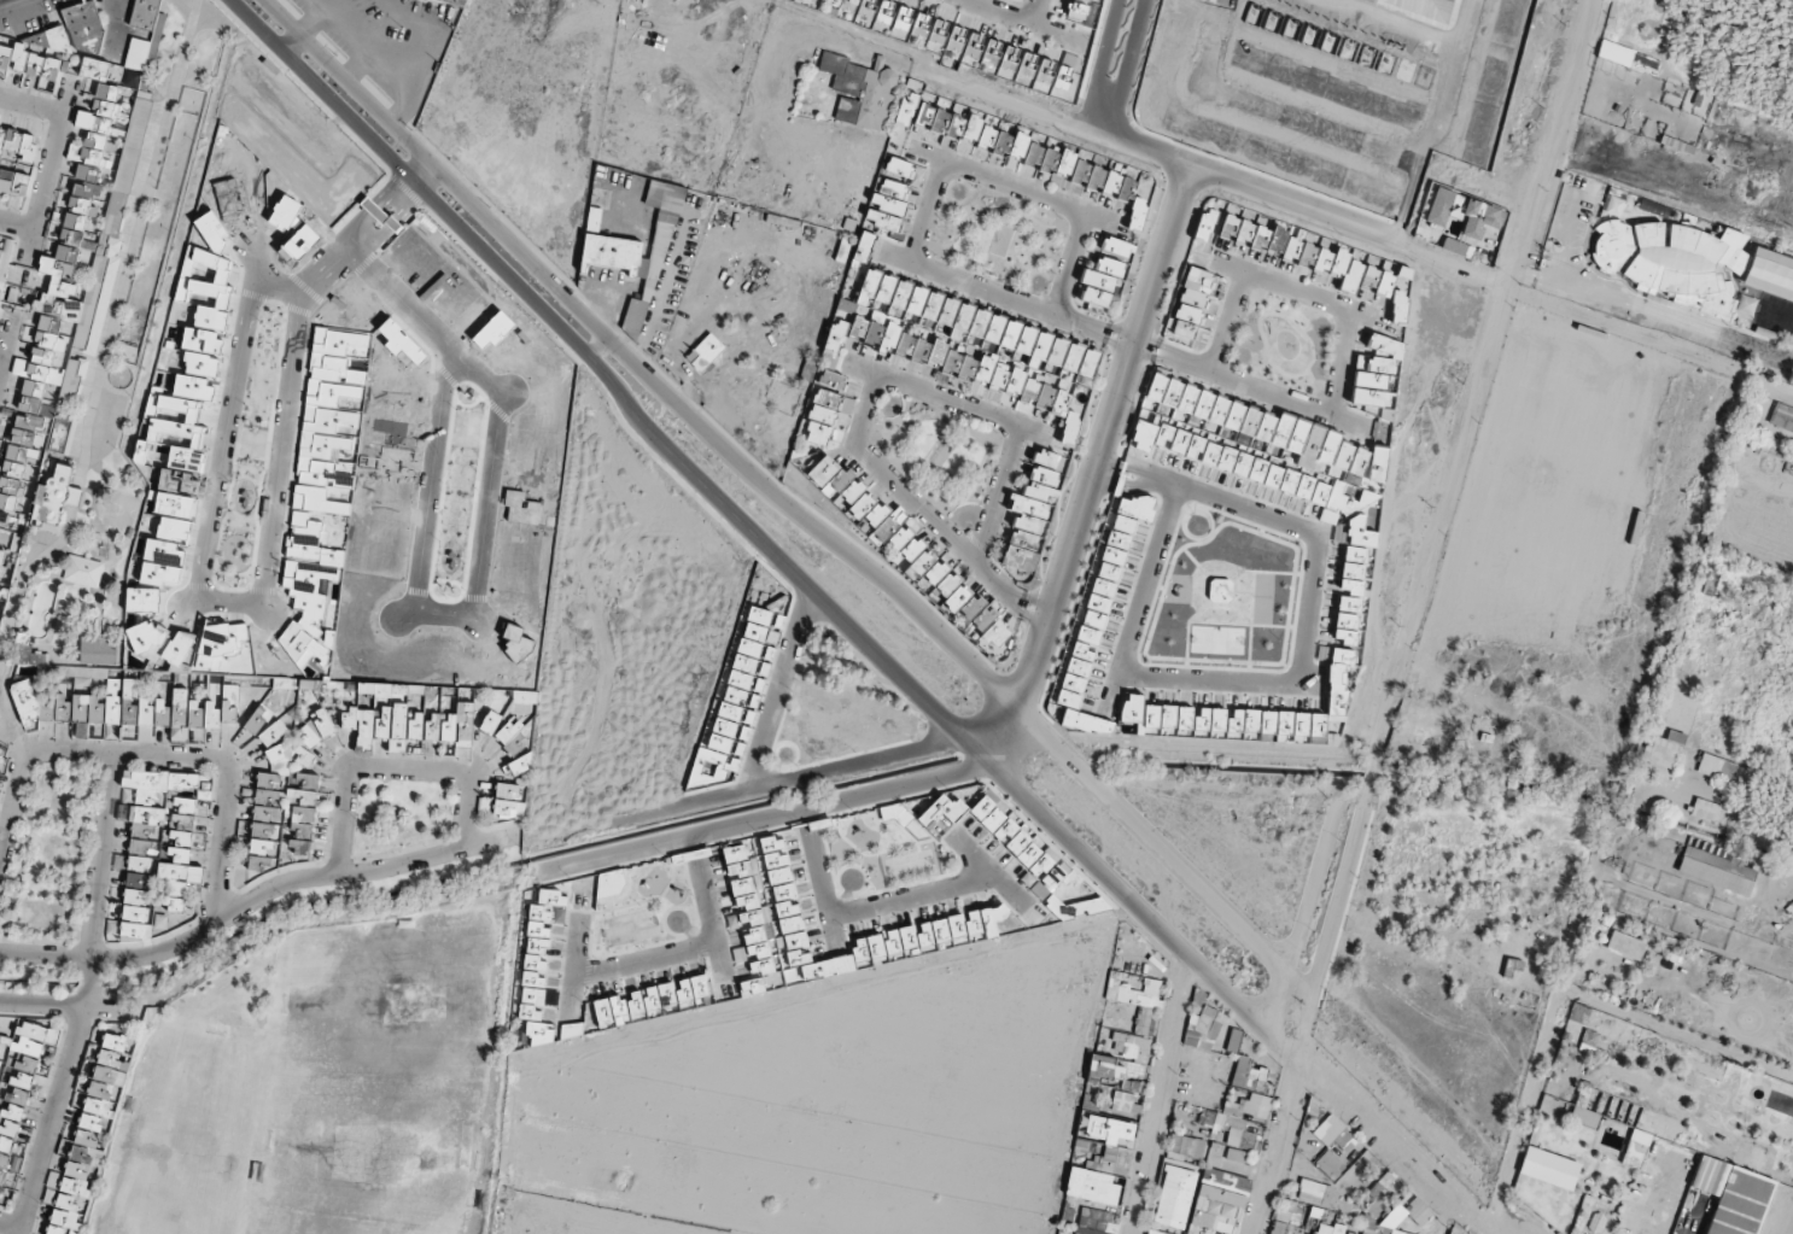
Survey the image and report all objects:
crop: (1757, 517)
park: (392, 1007)
park: (320, 1086)
park: (188, 1139)
park: (374, 1150)
park: (313, 1224)

